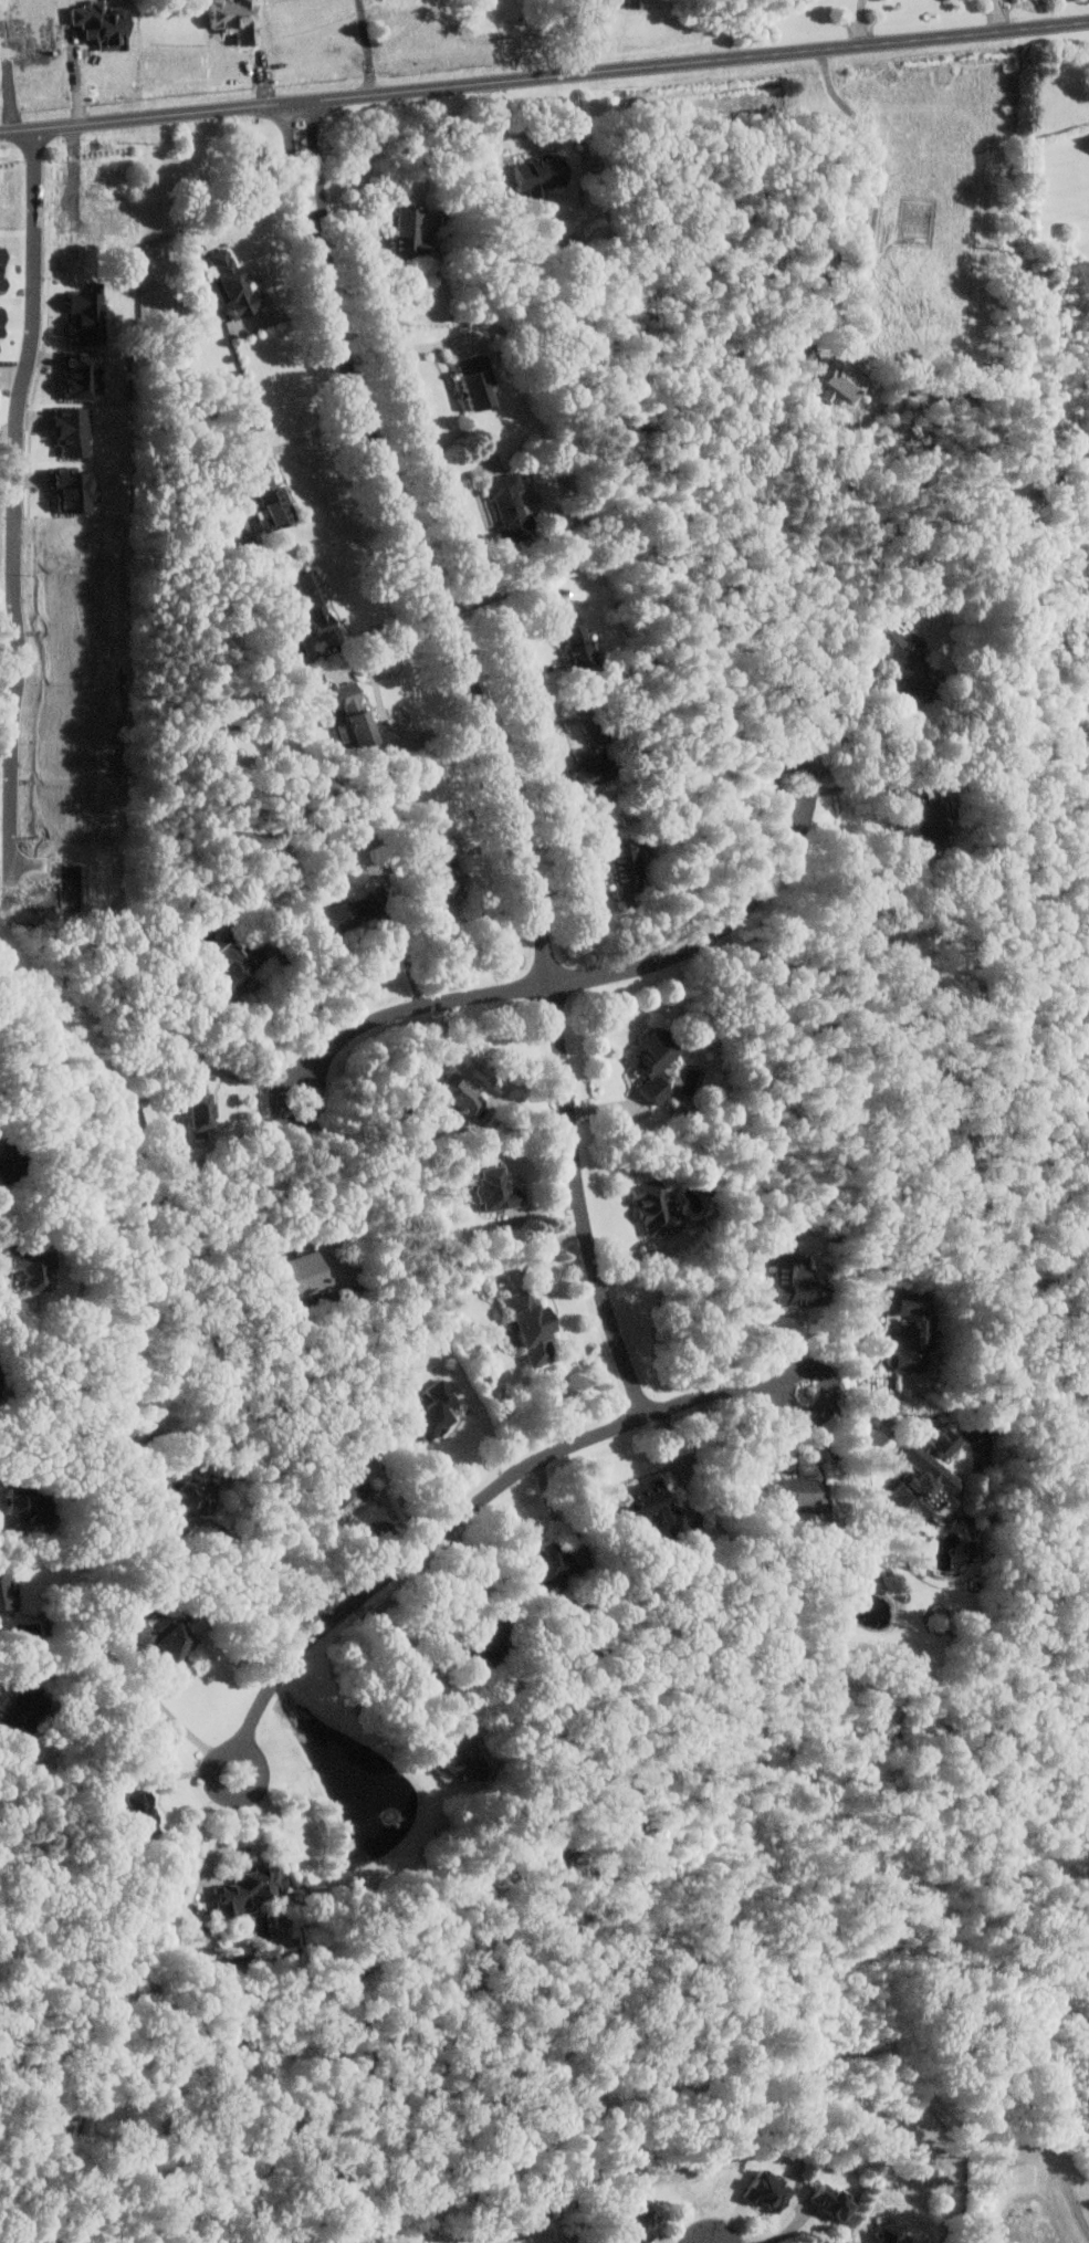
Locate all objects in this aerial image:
road: (1002, 15)
road: (865, 22)
road: (369, 46)
road: (544, 77)
building: (538, 170)
road: (879, 197)
building: (106, 218)
building: (407, 230)
building: (230, 283)
building: (87, 313)
building: (0, 322)
road: (399, 349)
building: (82, 374)
building: (475, 378)
building: (846, 380)
road: (314, 433)
road: (449, 479)
road: (9, 495)
building: (507, 501)
road: (506, 591)
building: (315, 601)
road: (392, 620)
building: (576, 642)
building: (900, 656)
road: (839, 696)
road: (383, 699)
building: (355, 715)
road: (496, 752)
building: (595, 758)
road: (858, 785)
building: (928, 822)
building: (626, 866)
building: (443, 882)
building: (346, 914)
road: (721, 931)
road: (408, 952)
building: (233, 967)
road: (311, 987)
road: (405, 1010)
building: (653, 1062)
road: (481, 1081)
building: (458, 1098)
building: (198, 1107)
building: (4, 1163)
road: (335, 1180)
building: (496, 1188)
building: (657, 1208)
road: (9, 1239)
building: (30, 1269)
building: (305, 1276)
building: (794, 1277)
road: (760, 1316)
building: (532, 1328)
building: (911, 1331)
road: (858, 1342)
road: (868, 1407)
building: (434, 1411)
road: (678, 1461)
building: (924, 1478)
building: (346, 1488)
building: (796, 1492)
building: (17, 1500)
building: (648, 1501)
road: (474, 1506)
road: (9, 1532)
road: (233, 1539)
building: (971, 1548)
building: (548, 1562)
road: (195, 1566)
road: (269, 1566)
building: (3, 1586)
road: (303, 1595)
road: (443, 1624)
building: (154, 1636)
building: (478, 1646)
road: (19, 1669)
road: (459, 1680)
building: (23, 1702)
road: (176, 1717)
building: (459, 1763)
road: (182, 1772)
building: (139, 1810)
road: (281, 1826)
road: (222, 1841)
road: (231, 1848)
building: (249, 1885)
building: (765, 2192)
building: (828, 2201)
building: (639, 2219)
road: (789, 2229)
building: (888, 2234)

